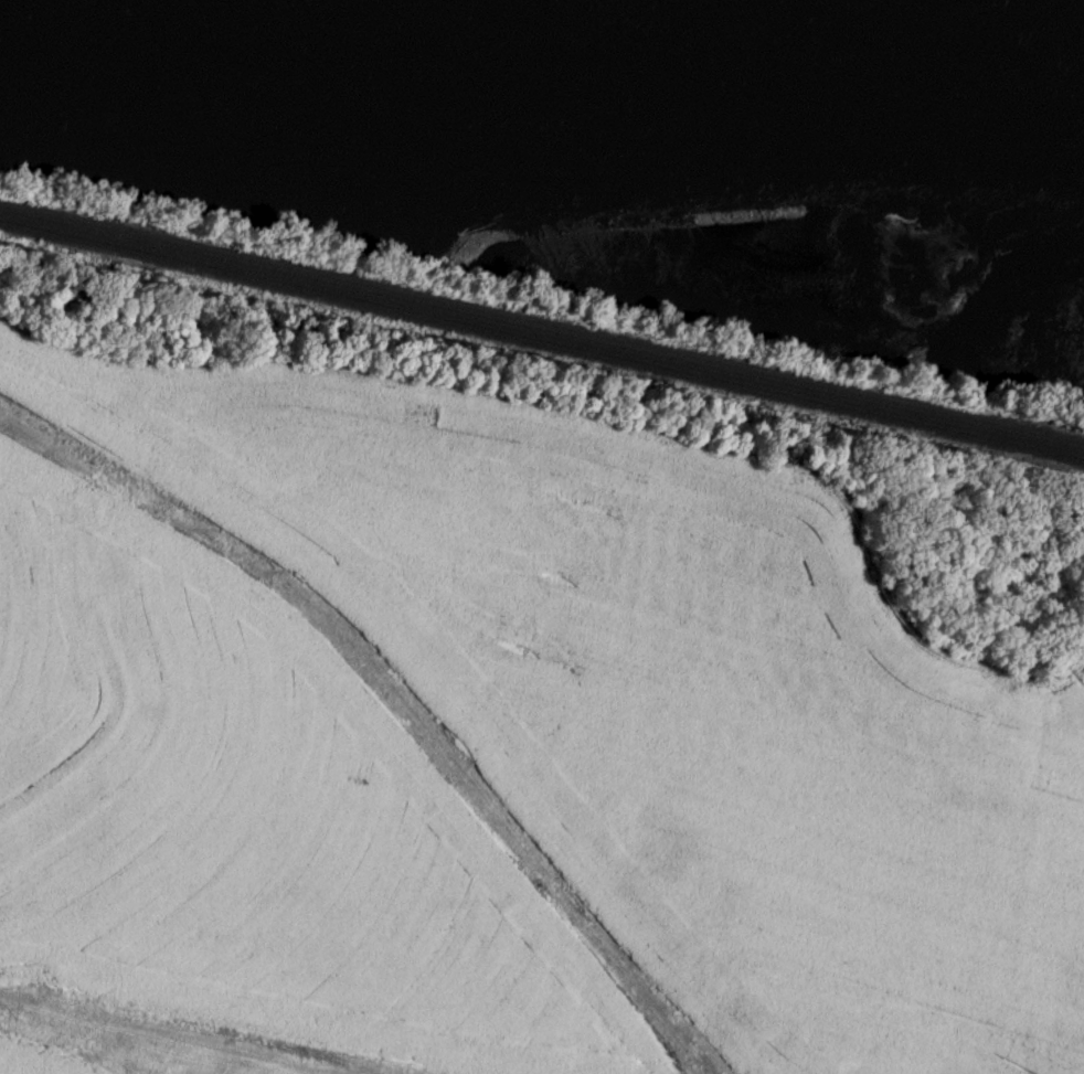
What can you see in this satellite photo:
railway: (541, 329)
railway: (542, 340)

